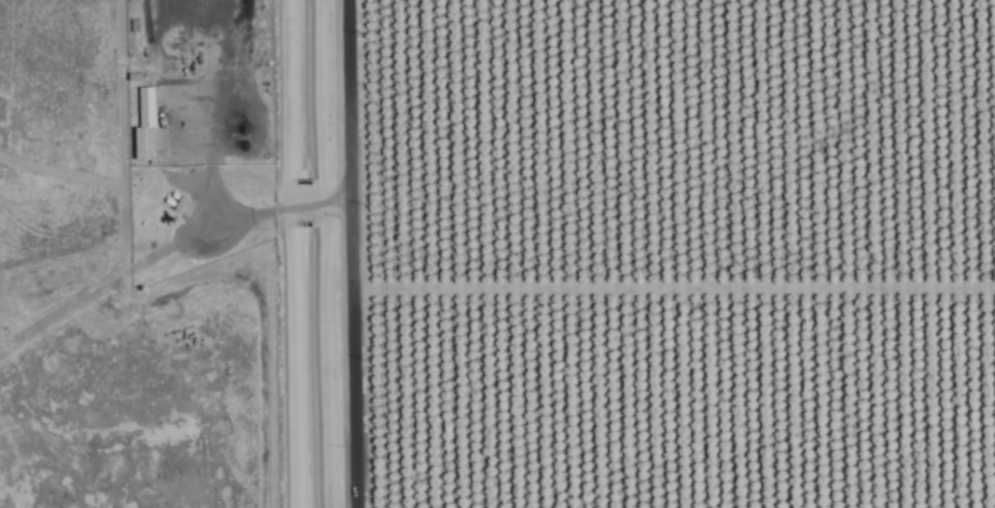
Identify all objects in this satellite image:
building: (144, 125)
road: (170, 247)
road: (358, 253)

